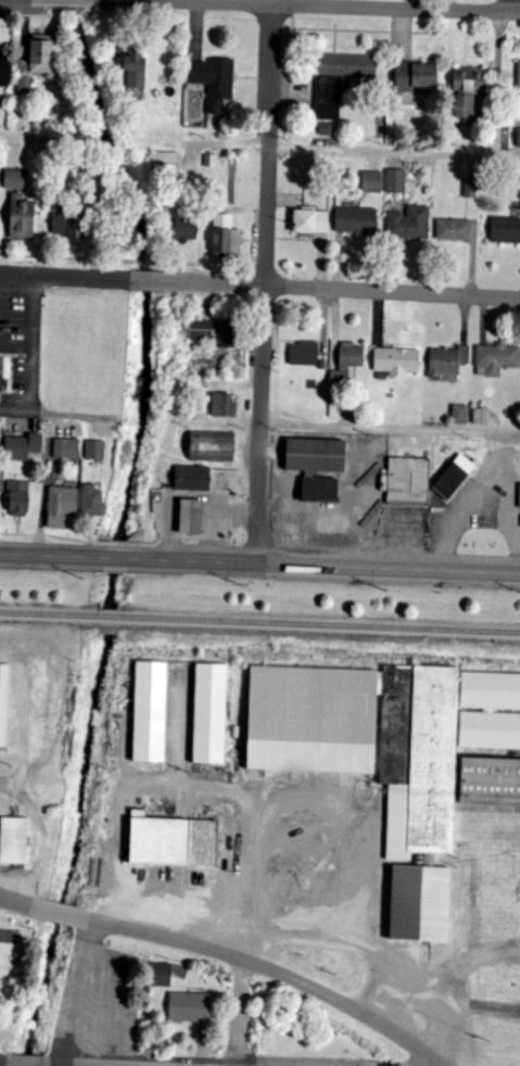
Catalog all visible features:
road: (188, 1)
road: (330, 8)
building: (4, 51)
building: (41, 54)
building: (136, 67)
building: (417, 75)
building: (519, 75)
building: (213, 80)
building: (338, 80)
building: (470, 80)
building: (24, 81)
building: (465, 106)
building: (326, 129)
building: (519, 137)
road: (394, 149)
building: (165, 163)
building: (15, 179)
building: (371, 181)
building: (396, 181)
building: (470, 188)
building: (22, 218)
building: (356, 220)
building: (310, 221)
building: (409, 223)
building: (69, 225)
building: (185, 229)
building: (453, 229)
building: (505, 229)
building: (226, 239)
road: (66, 257)
road: (151, 263)
road: (207, 266)
road: (65, 279)
road: (148, 282)
road: (264, 283)
road: (342, 290)
building: (215, 334)
parking lot: (22, 335)
road: (33, 341)
building: (304, 353)
building: (496, 359)
building: (396, 361)
building: (443, 361)
building: (346, 364)
building: (325, 365)
building: (1, 373)
road: (9, 396)
road: (9, 399)
building: (224, 405)
building: (460, 414)
building: (481, 416)
road: (389, 426)
building: (212, 445)
building: (23, 447)
building: (66, 448)
building: (94, 449)
building: (316, 467)
building: (454, 475)
building: (192, 478)
gas station: (192, 478)
building: (409, 480)
parking lot: (339, 495)
building: (20, 497)
building: (519, 497)
building: (92, 500)
parking lot: (481, 502)
building: (61, 506)
gas station: (192, 516)
building: (191, 517)
parking lot: (404, 529)
road: (51, 556)
road: (122, 558)
road: (331, 566)
railway: (259, 623)
building: (490, 690)
building: (3, 702)
building: (150, 711)
building: (210, 713)
building: (490, 731)
road: (7, 788)
building: (420, 824)
building: (13, 840)
building: (173, 841)
road: (15, 902)
road: (60, 915)
road: (271, 923)
road: (242, 929)
road: (277, 973)
building: (158, 975)
building: (189, 1007)
road: (16, 1065)

